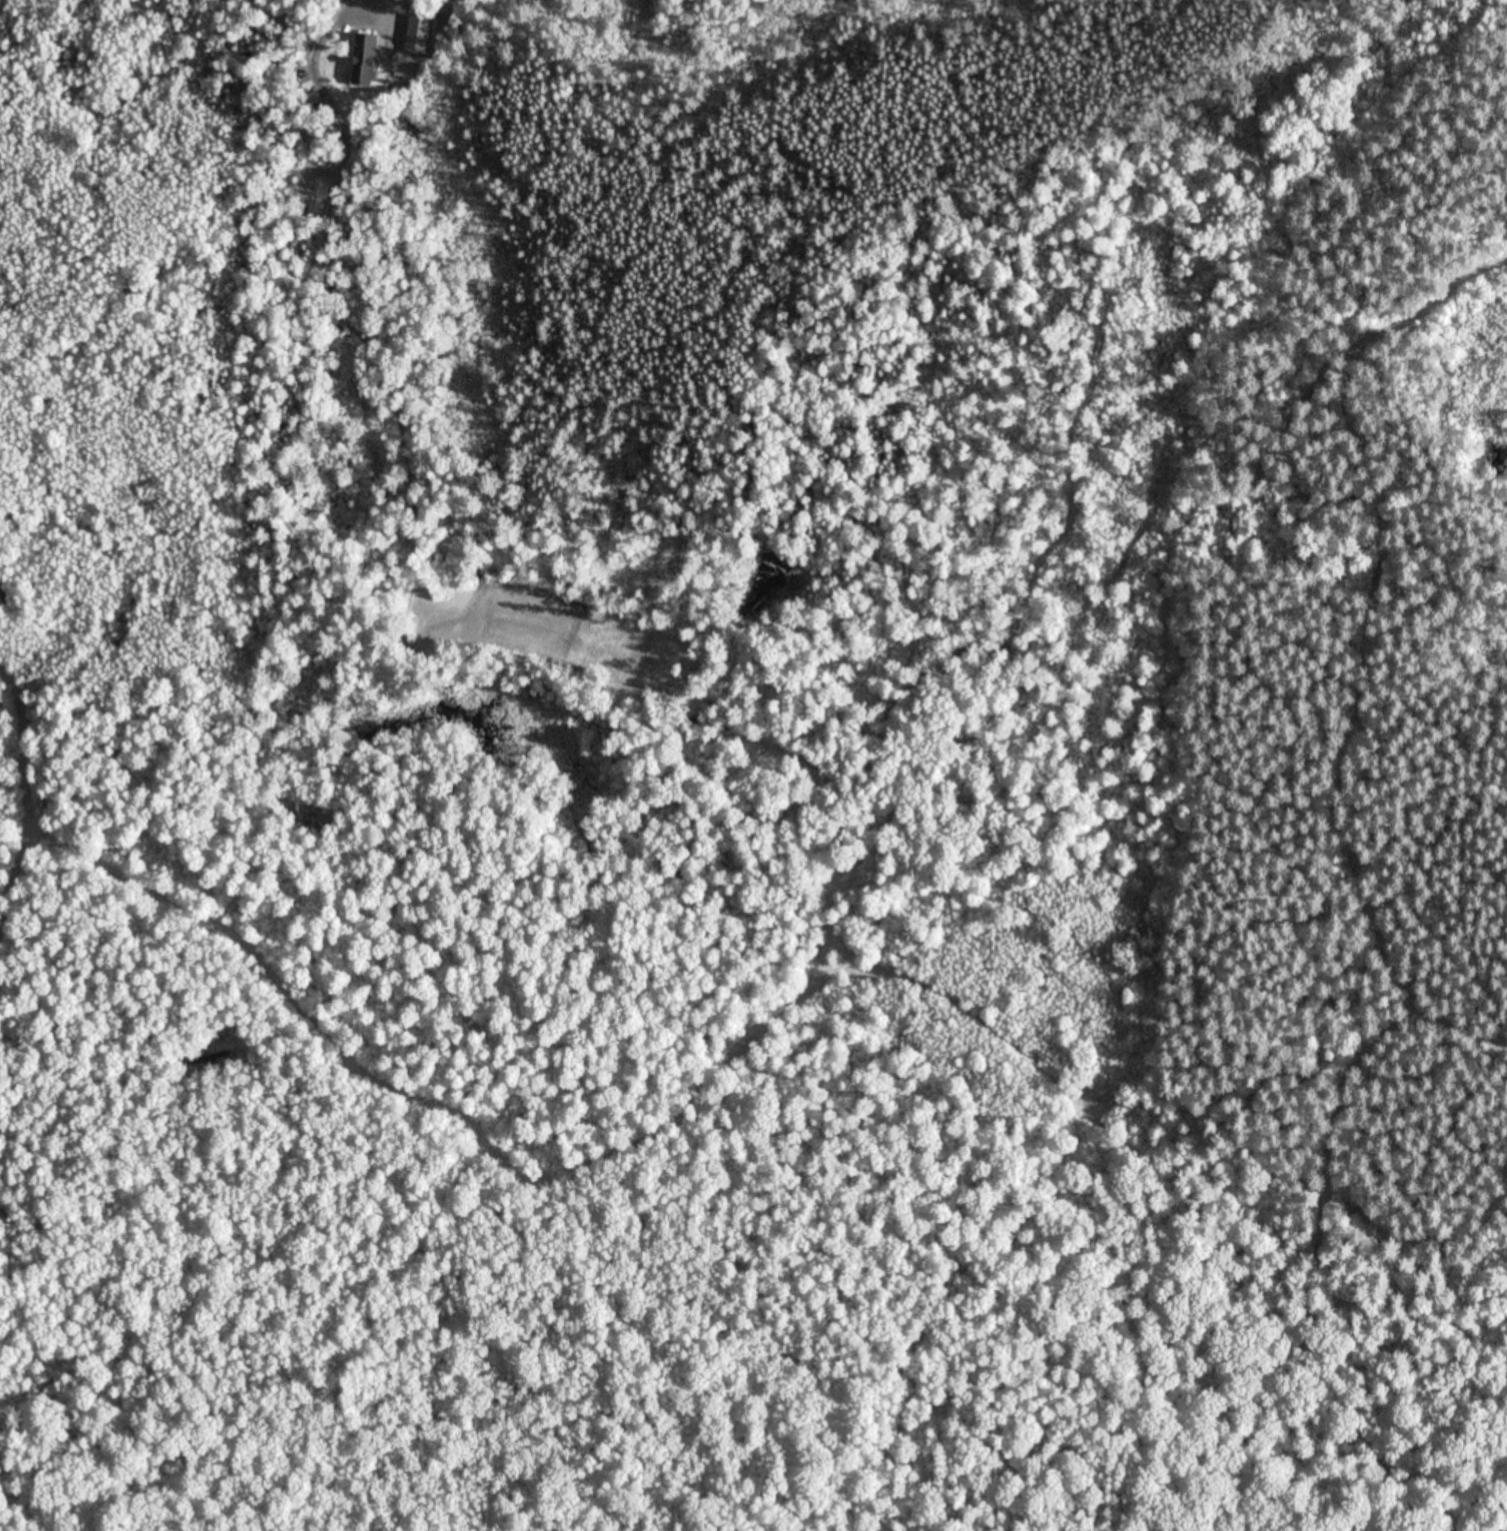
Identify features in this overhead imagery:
building: (416, 35)
building: (364, 60)

